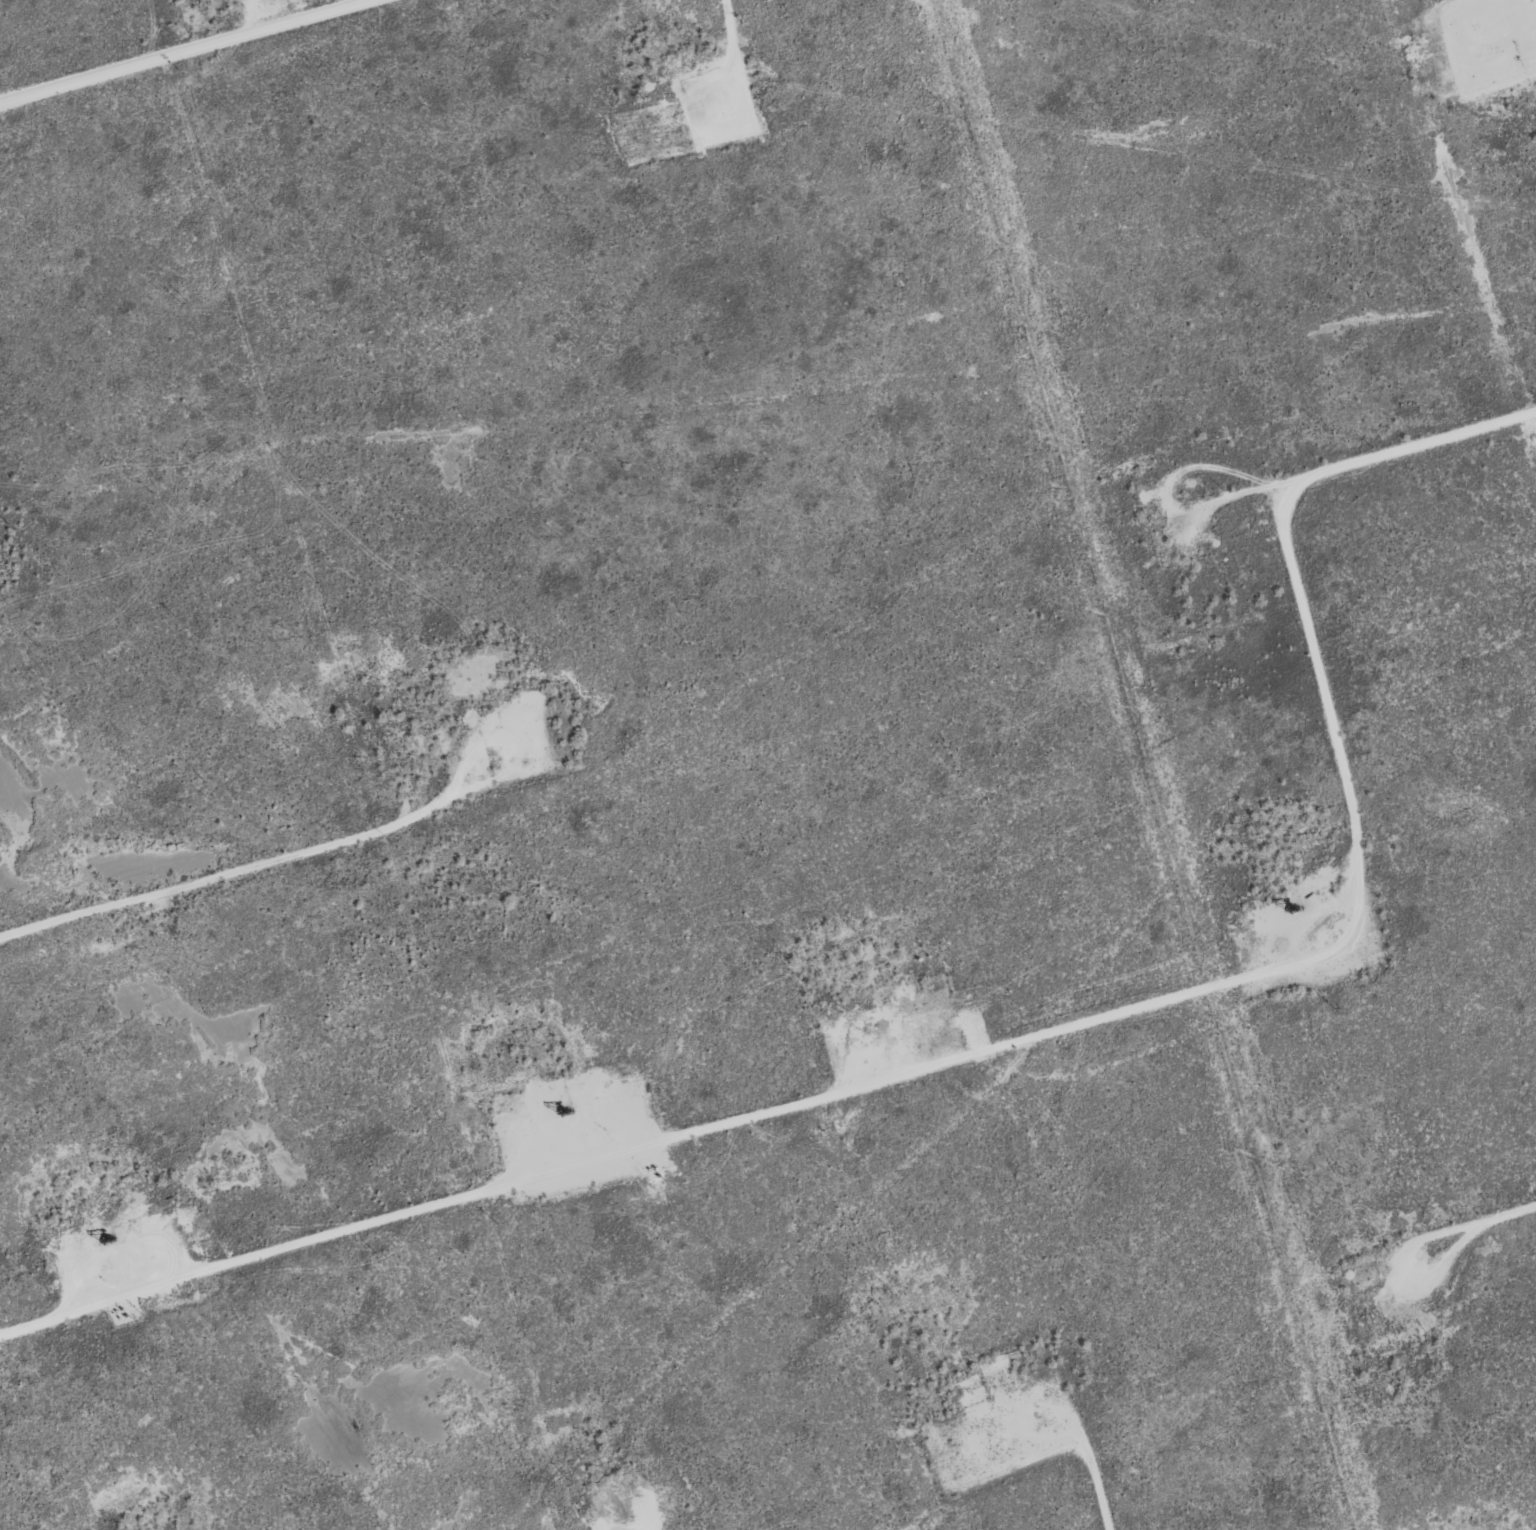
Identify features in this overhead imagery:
road: (179, 50)
road: (199, 876)
road: (1019, 1043)
road: (1517, 1210)

